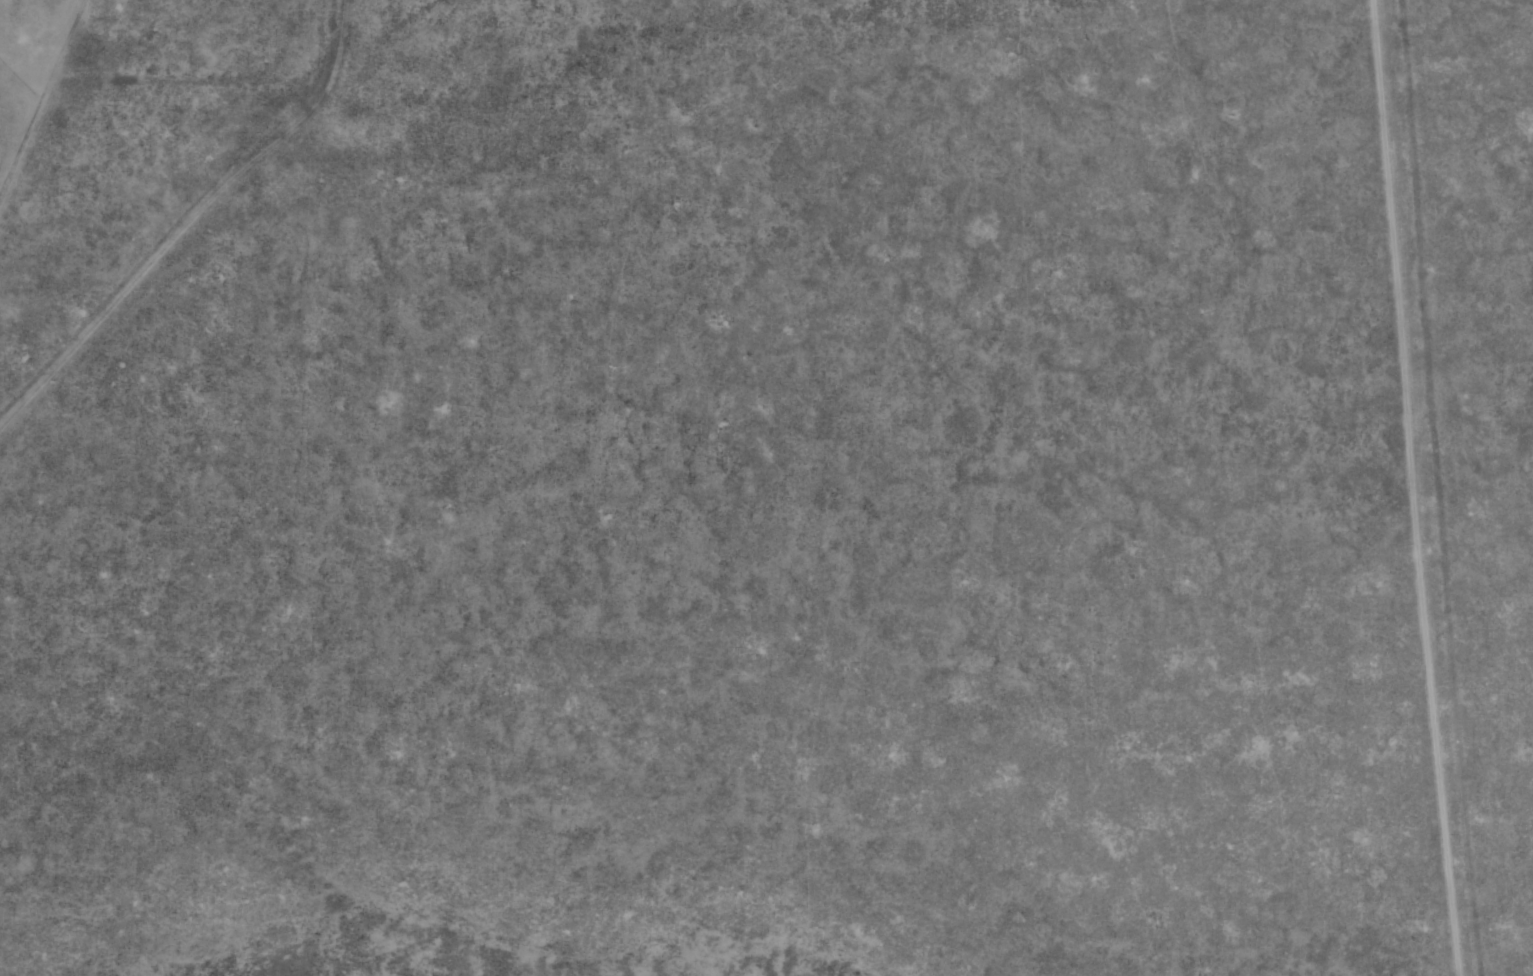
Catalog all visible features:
road: (1407, 488)

